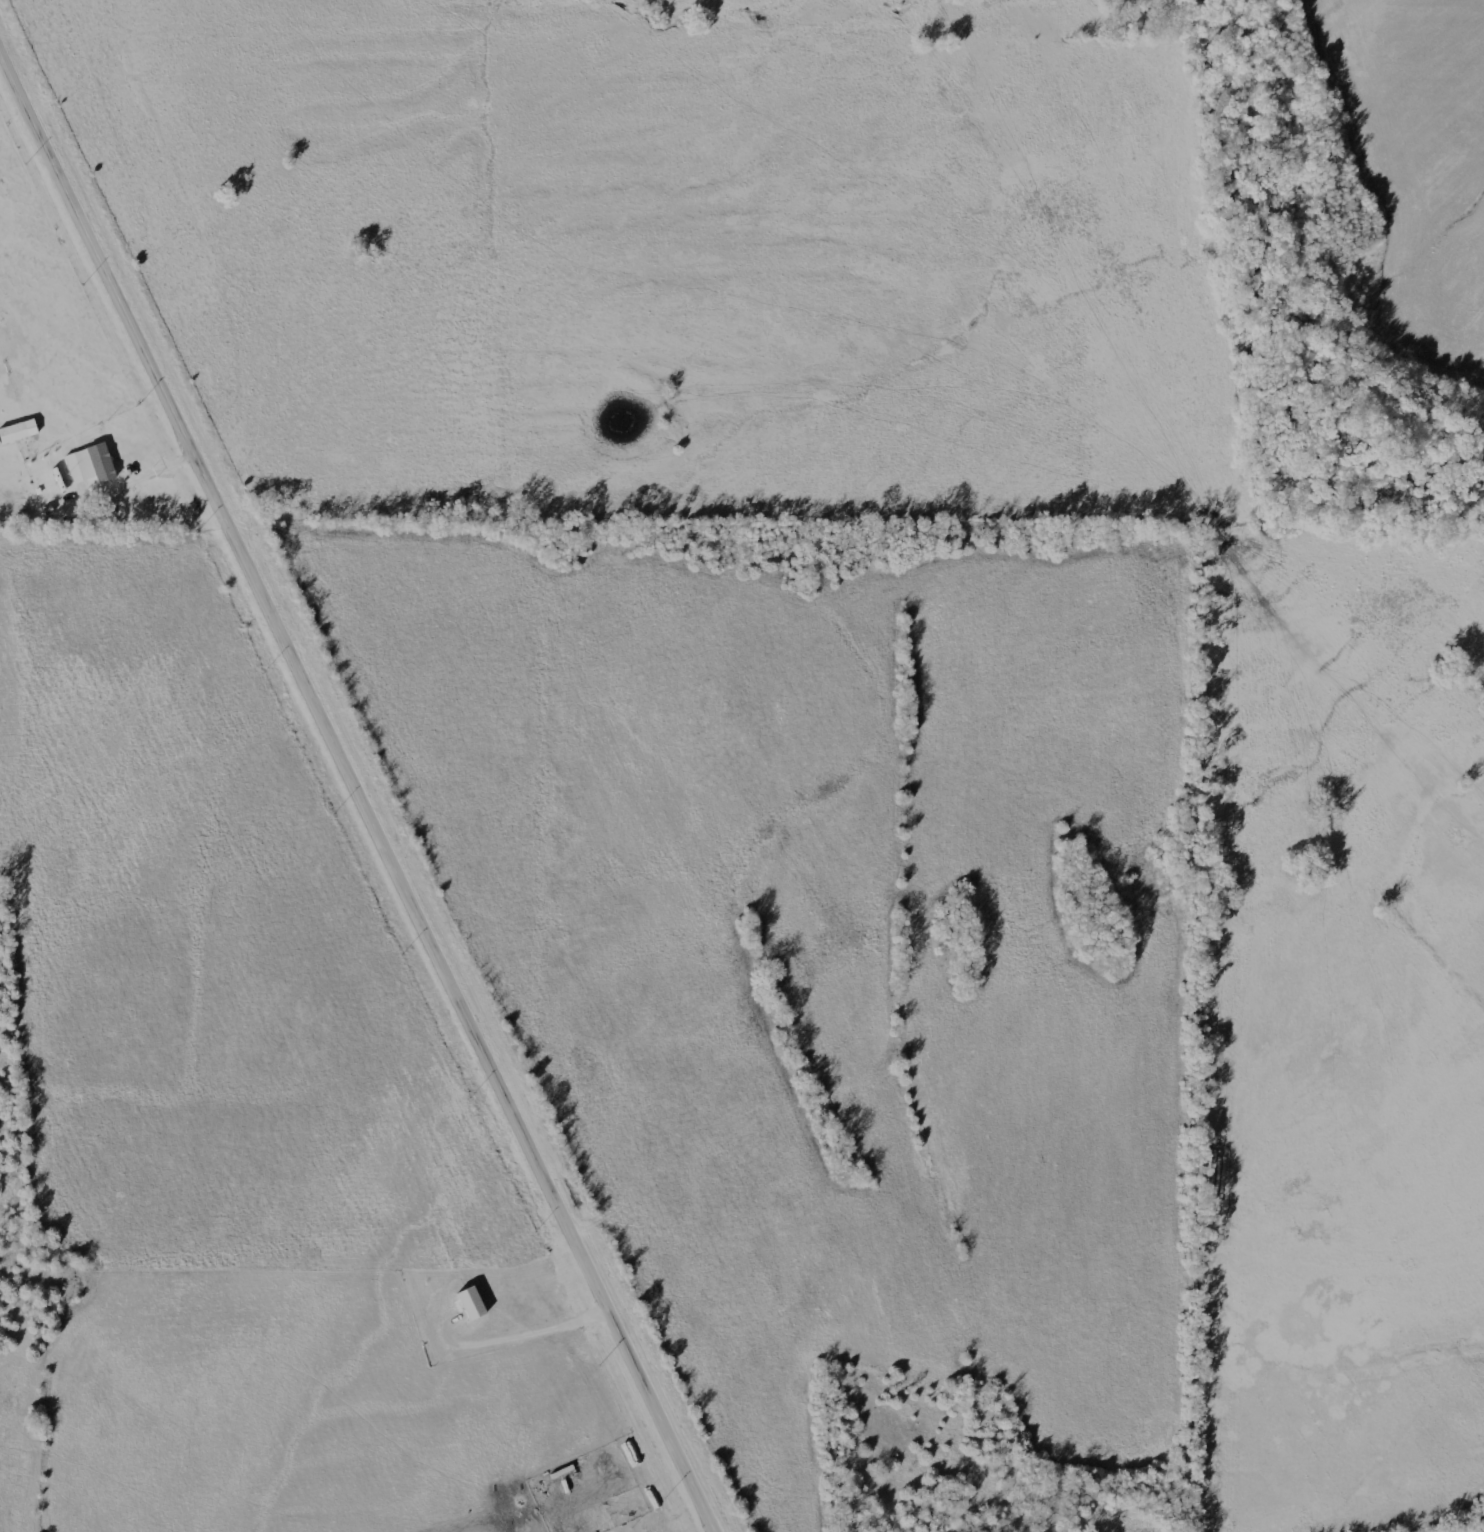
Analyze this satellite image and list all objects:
building: (12, 433)
building: (76, 467)
road: (149, 472)
road: (365, 778)
building: (475, 1304)

